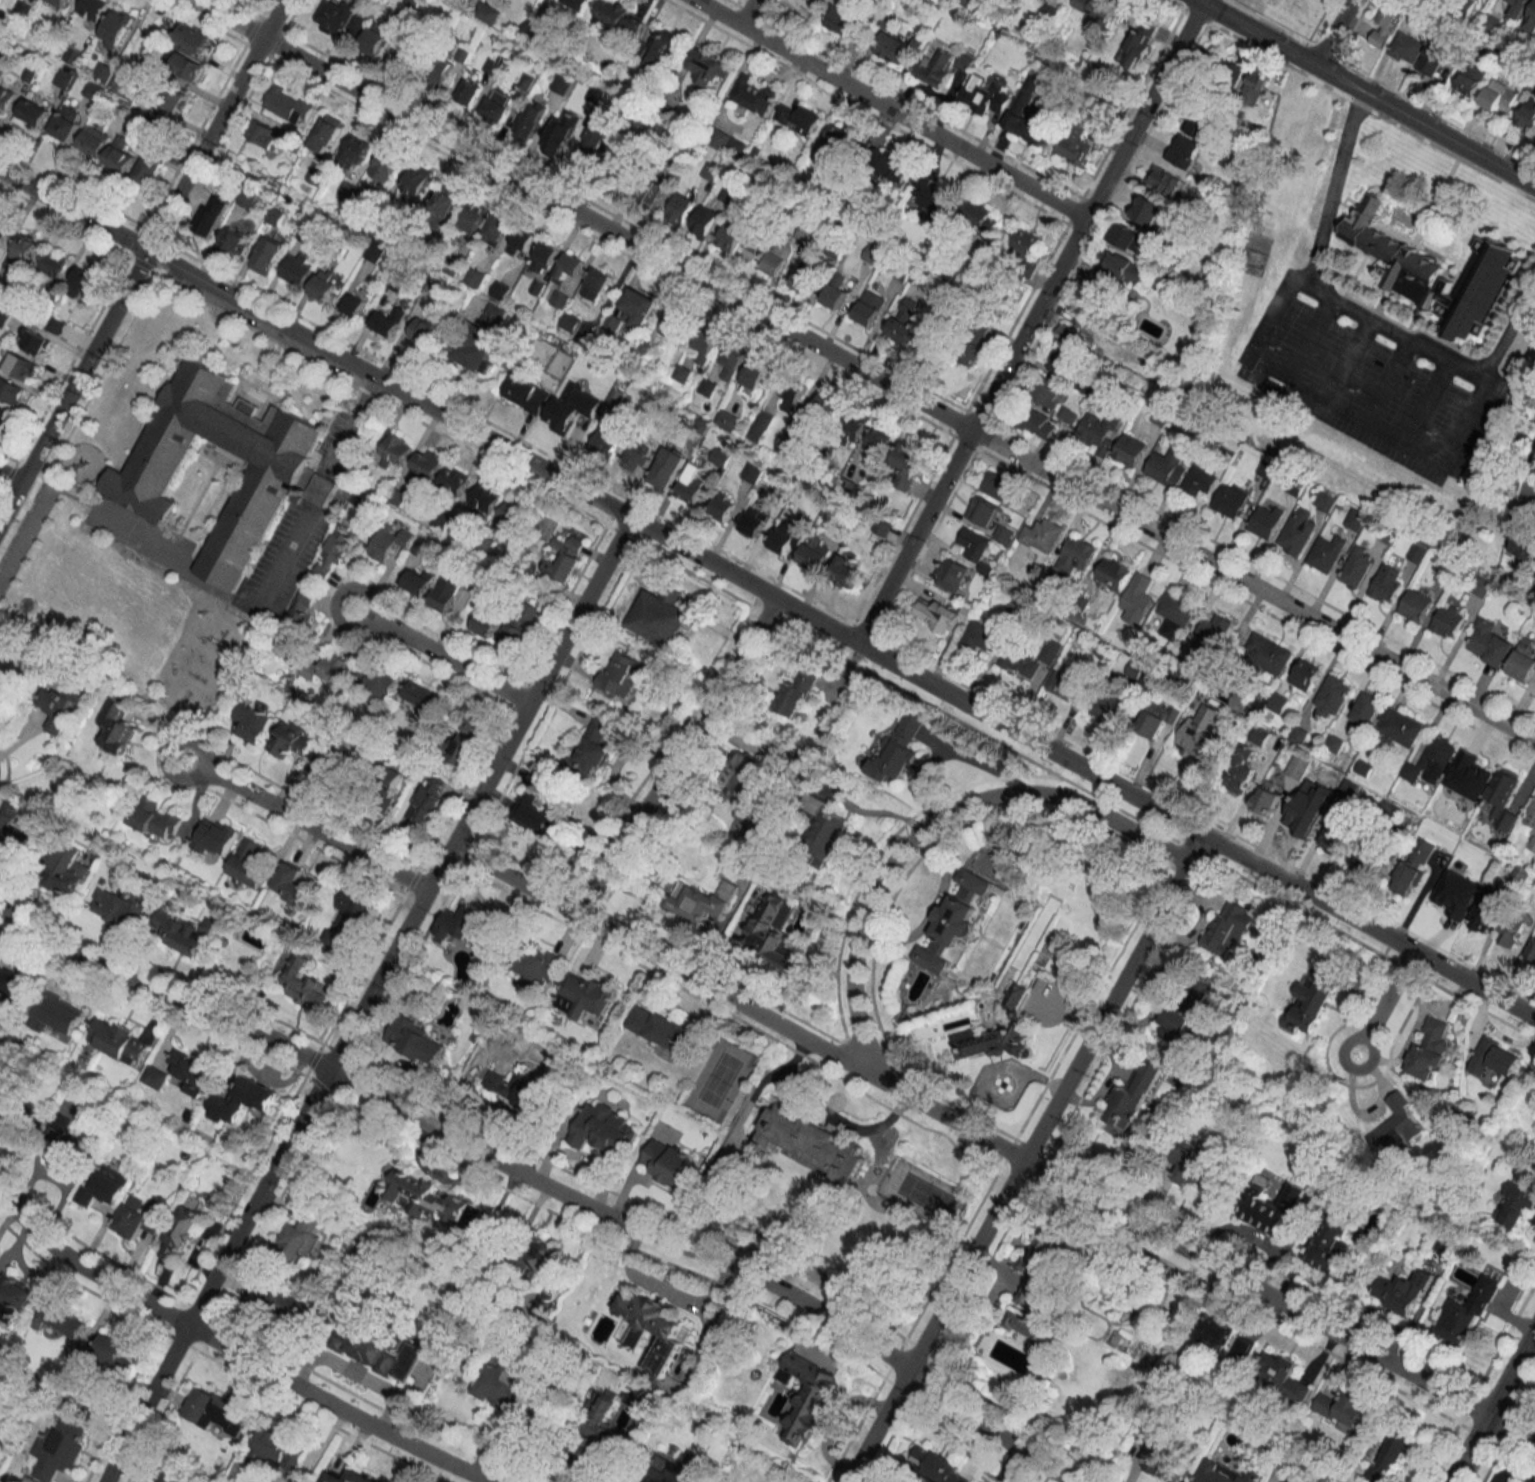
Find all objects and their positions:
building: (363, 0)
building: (58, 2)
building: (966, 2)
building: (578, 3)
building: (93, 8)
building: (1516, 8)
building: (22, 9)
building: (1096, 9)
road: (745, 12)
building: (486, 13)
park: (1291, 13)
building: (619, 16)
building: (340, 18)
building: (1530, 20)
building: (849, 21)
building: (1384, 22)
building: (117, 29)
building: (534, 29)
road: (1255, 33)
road: (1331, 33)
building: (193, 37)
building: (376, 38)
building: (1138, 43)
building: (661, 46)
building: (896, 48)
building: (1406, 48)
building: (409, 52)
building: (73, 55)
building: (1433, 57)
building: (183, 64)
building: (492, 66)
building: (709, 67)
building: (439, 70)
building: (946, 71)
building: (103, 72)
building: (1230, 74)
building: (63, 77)
building: (1470, 79)
building: (122, 83)
building: (1253, 87)
building: (93, 90)
building: (469, 92)
building: (754, 94)
building: (986, 95)
building: (1497, 95)
building: (6, 97)
building: (177, 101)
building: (288, 105)
building: (498, 106)
road: (889, 108)
building: (1018, 110)
building: (34, 112)
building: (799, 118)
building: (529, 122)
building: (66, 123)
building: (1200, 126)
road: (1424, 127)
building: (324, 135)
building: (558, 138)
building: (93, 140)
building: (728, 142)
building: (593, 143)
building: (836, 143)
building: (1073, 150)
building: (1183, 151)
building: (355, 152)
building: (121, 156)
building: (385, 165)
building: (150, 166)
building: (892, 166)
building: (625, 168)
building: (416, 180)
building: (1166, 181)
road: (1329, 183)
building: (652, 190)
building: (932, 196)
building: (246, 199)
building: (444, 200)
building: (682, 206)
building: (1148, 210)
building: (212, 214)
building: (982, 215)
building: (472, 217)
building: (706, 218)
building: (496, 229)
building: (4, 230)
building: (730, 236)
building: (1128, 237)
building: (235, 240)
building: (521, 241)
building: (1026, 241)
building: (753, 242)
building: (24, 247)
building: (375, 250)
building: (268, 254)
building: (544, 257)
building: (780, 257)
road: (141, 260)
building: (53, 263)
building: (298, 268)
building: (1119, 271)
building: (1433, 271)
building: (475, 277)
building: (806, 278)
building: (599, 280)
building: (82, 281)
building: (327, 285)
building: (836, 292)
building: (354, 305)
building: (870, 306)
building: (638, 307)
building: (1103, 308)
building: (494, 315)
building: (4, 316)
building: (389, 320)
building: (569, 321)
building: (904, 321)
road: (1510, 322)
building: (673, 323)
road: (1028, 323)
road: (1392, 326)
building: (427, 328)
road: (1303, 334)
building: (1079, 335)
building: (936, 339)
building: (35, 341)
building: (706, 346)
building: (474, 348)
road: (1345, 356)
building: (733, 361)
building: (1062, 361)
building: (21, 366)
road: (862, 371)
building: (681, 373)
building: (756, 373)
parking lot: (1366, 374)
road: (1384, 376)
building: (1086, 383)
building: (707, 387)
building: (12, 390)
building: (1047, 391)
building: (526, 393)
building: (792, 396)
road: (1426, 397)
building: (824, 407)
building: (572, 408)
road: (1344, 410)
building: (4, 419)
building: (726, 419)
building: (1039, 423)
building: (760, 426)
building: (853, 428)
building: (1098, 431)
building: (608, 437)
building: (879, 438)
building: (395, 450)
building: (1129, 450)
building: (720, 457)
building: (907, 457)
building: (638, 459)
building: (425, 466)
building: (1167, 466)
building: (1266, 469)
building: (752, 472)
building: (664, 473)
building: (282, 475)
road: (10, 477)
building: (454, 480)
building: (1199, 481)
building: (692, 484)
building: (997, 485)
road: (1531, 491)
road: (341, 492)
building: (484, 499)
building: (1230, 499)
building: (723, 507)
building: (982, 511)
building: (511, 513)
building: (443, 519)
building: (1355, 519)
building: (1266, 520)
building: (754, 521)
building: (457, 526)
building: (883, 526)
building: (1297, 531)
building: (1003, 535)
building: (1041, 535)
building: (390, 540)
building: (1523, 542)
building: (974, 543)
building: (335, 551)
building: (815, 552)
building: (1326, 553)
building: (1076, 555)
building: (566, 557)
building: (1356, 566)
building: (1113, 573)
building: (849, 574)
building: (950, 574)
building: (1444, 575)
building: (418, 580)
building: (1387, 584)
building: (446, 593)
road: (767, 594)
building: (1137, 596)
building: (1415, 605)
building: (1175, 614)
building: (938, 615)
building: (660, 616)
building: (488, 620)
building: (1447, 621)
building: (520, 623)
building: (1211, 634)
building: (1489, 643)
building: (1267, 653)
road: (441, 654)
building: (1029, 659)
building: (1523, 661)
building: (335, 665)
building: (1142, 673)
building: (619, 674)
building: (1305, 674)
building: (383, 683)
building: (1067, 683)
building: (795, 692)
building: (1332, 695)
building: (1240, 700)
building: (1109, 704)
building: (60, 706)
building: (1365, 709)
building: (1158, 718)
building: (253, 722)
building: (117, 726)
building: (1399, 727)
building: (1200, 731)
building: (1260, 736)
building: (285, 739)
building: (465, 741)
building: (593, 747)
building: (897, 751)
road: (949, 755)
road: (678, 758)
building: (330, 760)
road: (619, 761)
building: (1429, 762)
building: (1298, 766)
building: (1473, 769)
building: (1241, 771)
building: (742, 779)
building: (386, 783)
building: (1460, 797)
building: (428, 799)
building: (1266, 800)
building: (1388, 811)
building: (534, 814)
building: (1531, 815)
building: (155, 818)
road: (302, 824)
building: (11, 830)
building: (1489, 832)
road: (926, 833)
building: (216, 837)
building: (1336, 837)
building: (825, 839)
building: (1371, 854)
building: (249, 863)
building: (1414, 866)
building: (66, 870)
building: (291, 883)
building: (702, 900)
building: (1461, 905)
building: (121, 909)
road: (929, 914)
building: (1482, 914)
building: (349, 920)
building: (953, 922)
building: (461, 924)
building: (1227, 928)
building: (1511, 931)
building: (184, 932)
building: (770, 935)
building: (1531, 951)
building: (539, 968)
building: (14, 984)
building: (306, 984)
building: (585, 995)
road: (366, 999)
road: (1385, 1001)
building: (1311, 1005)
building: (1188, 1007)
building: (55, 1015)
building: (658, 1027)
building: (119, 1041)
building: (417, 1041)
building: (990, 1042)
building: (1430, 1048)
building: (1494, 1058)
building: (191, 1071)
building: (154, 1076)
building: (515, 1087)
building: (1132, 1097)
building: (242, 1099)
road: (829, 1112)
building: (1398, 1124)
building: (14, 1125)
building: (605, 1129)
road: (993, 1143)
building: (815, 1144)
building: (64, 1147)
road: (1023, 1158)
building: (671, 1165)
building: (1188, 1166)
road: (541, 1183)
building: (104, 1187)
building: (432, 1201)
building: (1271, 1205)
building: (1515, 1205)
building: (136, 1219)
building: (181, 1234)
building: (302, 1235)
building: (1330, 1243)
building: (531, 1258)
building: (0, 1259)
building: (1039, 1273)
road: (665, 1288)
building: (1404, 1291)
building: (14, 1293)
building: (275, 1302)
building: (59, 1318)
building: (1460, 1318)
building: (1024, 1327)
building: (649, 1328)
building: (1212, 1332)
building: (113, 1351)
building: (1241, 1351)
road: (233, 1352)
building: (391, 1357)
building: (1281, 1374)
building: (503, 1384)
building: (808, 1395)
road: (1493, 1406)
building: (212, 1409)
building: (1344, 1410)
building: (601, 1425)
building: (58, 1449)
building: (279, 1450)
building: (1390, 1455)
building: (1168, 1459)
road: (1519, 1463)
building: (935, 1465)
building: (680, 1470)
building: (1226, 1473)
building: (166, 1476)
building: (350, 1477)
building: (1291, 1479)

